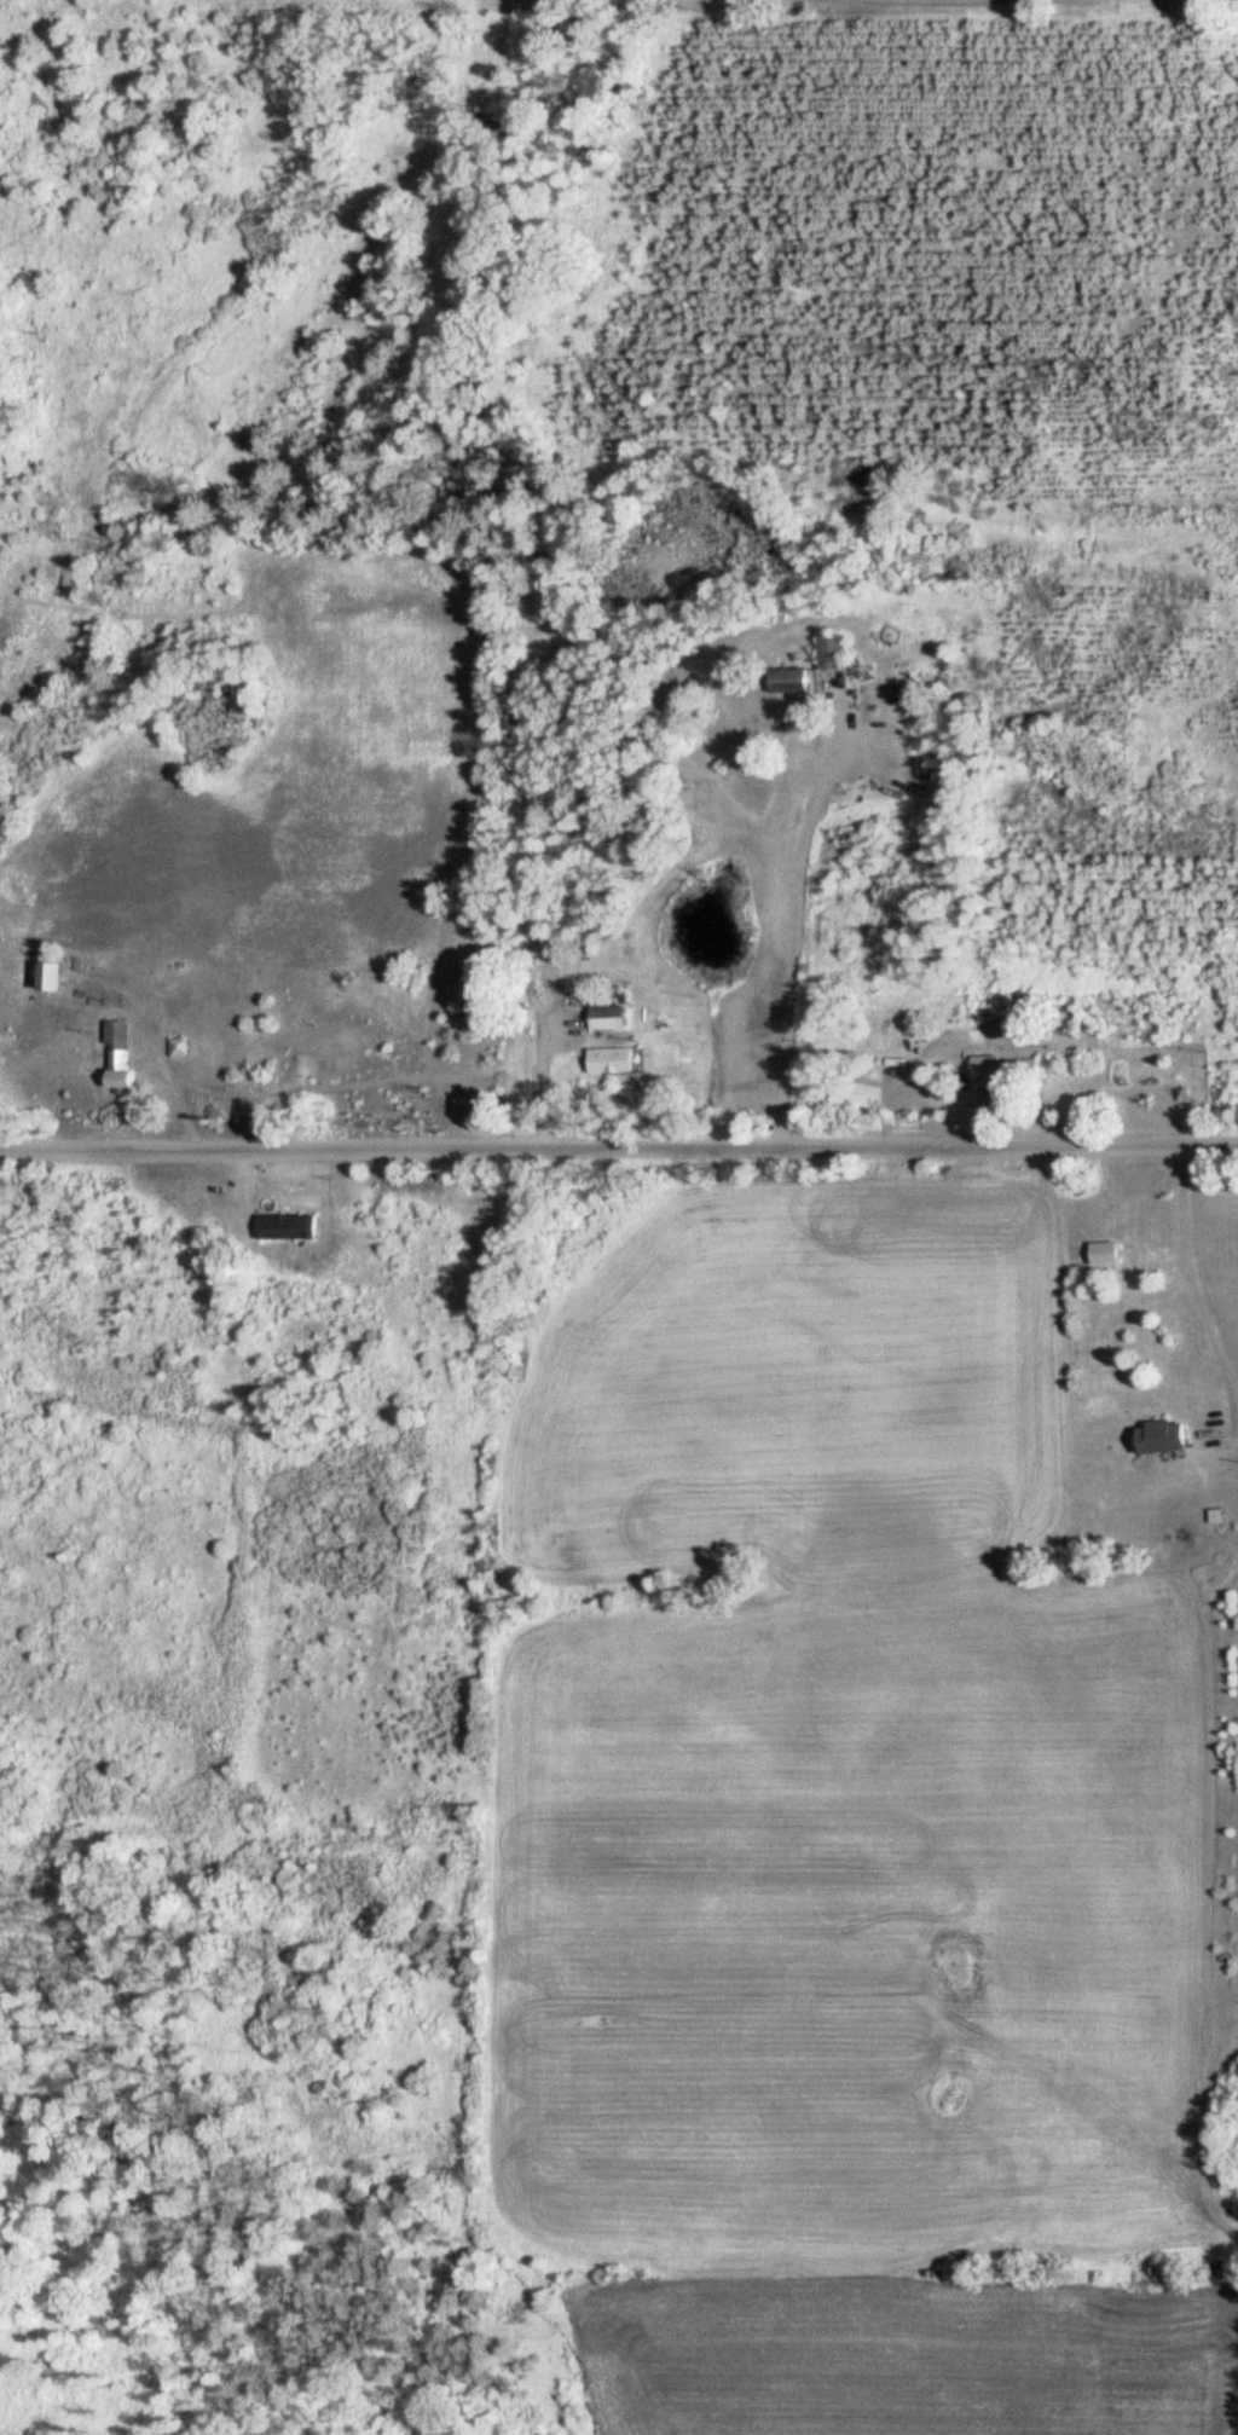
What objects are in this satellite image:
building: (835, 652)
building: (794, 679)
building: (57, 977)
building: (612, 1017)
building: (184, 1048)
building: (125, 1057)
building: (614, 1062)
building: (1000, 1068)
road: (619, 1161)
building: (289, 1227)
building: (1107, 1253)
building: (1167, 1438)

